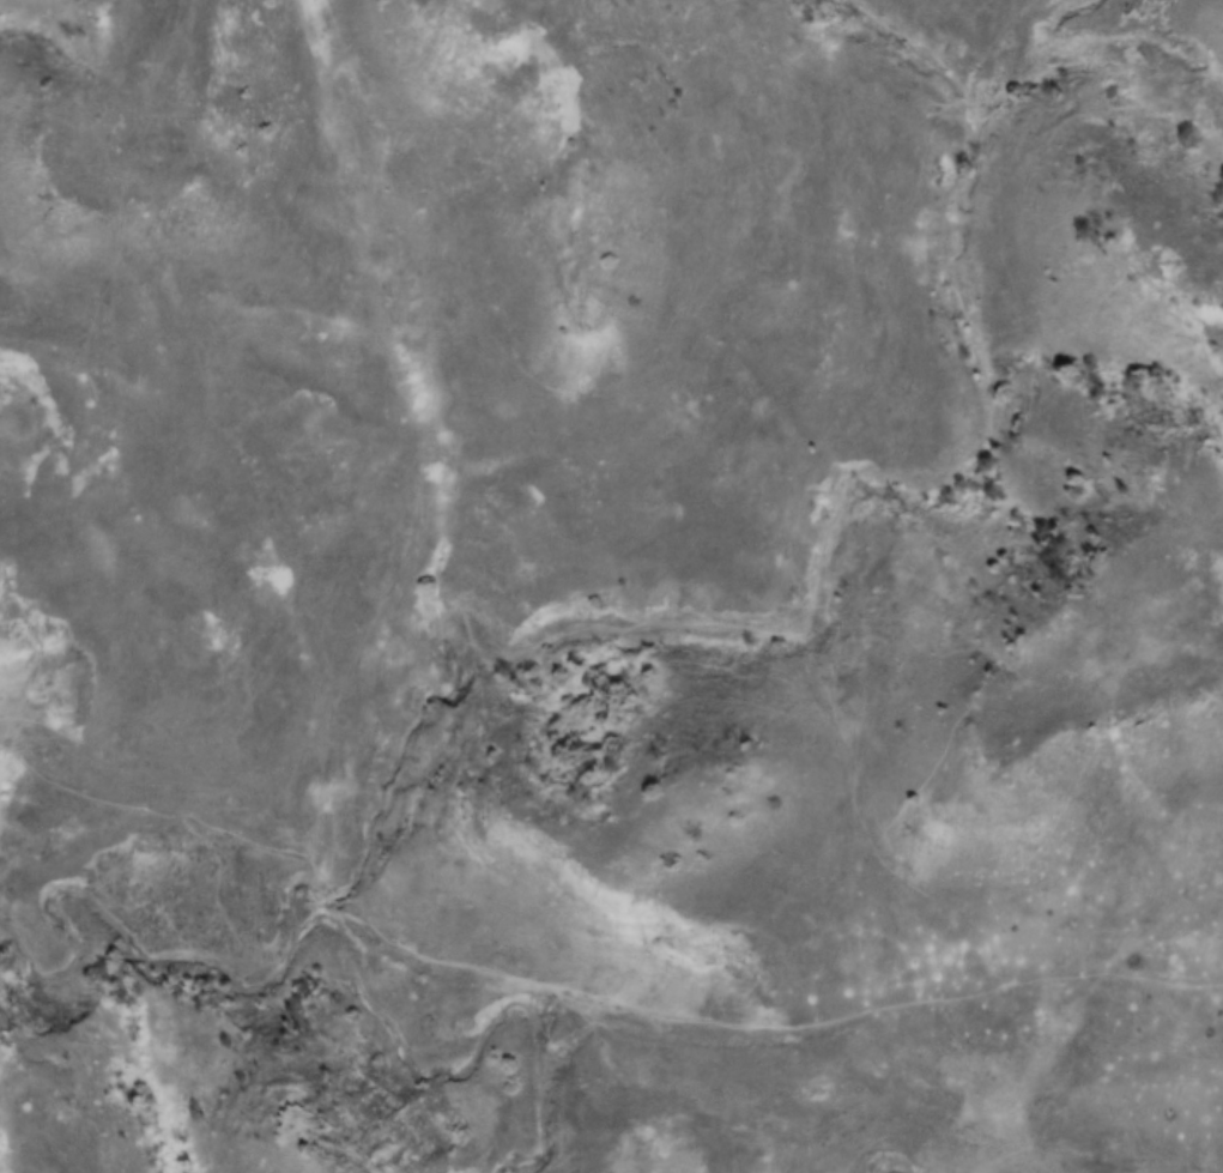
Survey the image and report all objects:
road: (585, 996)

